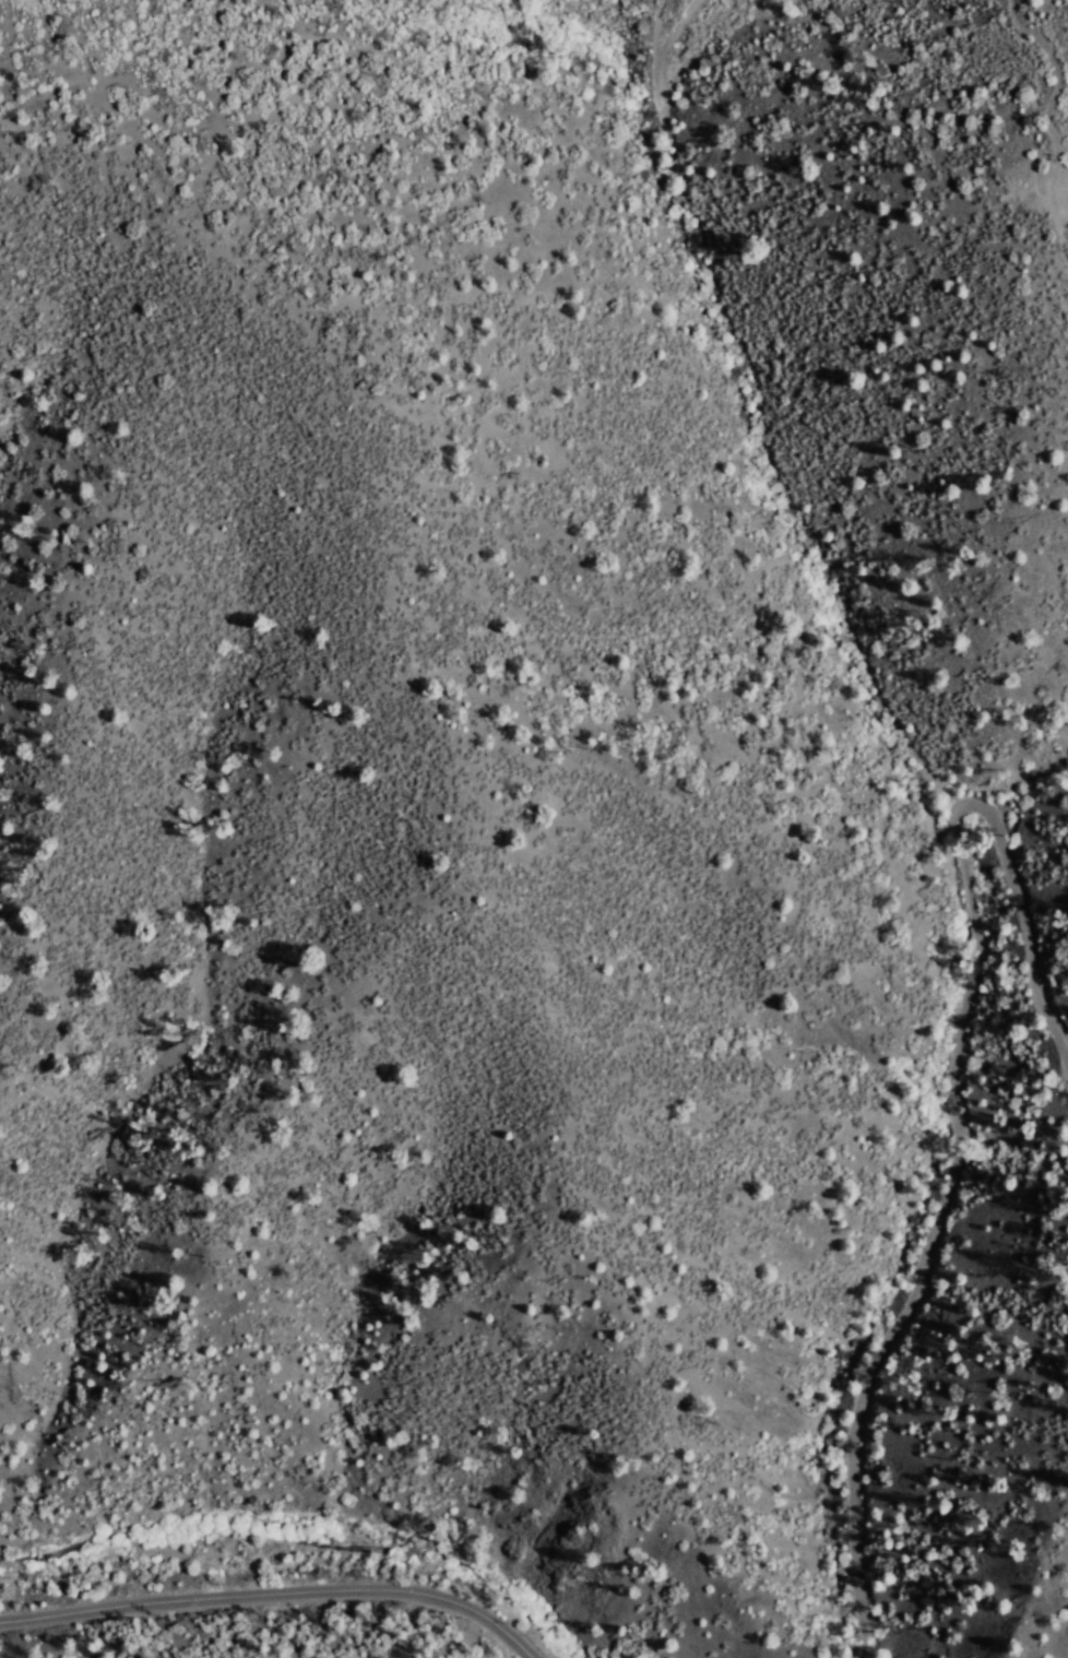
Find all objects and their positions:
road: (270, 1588)

